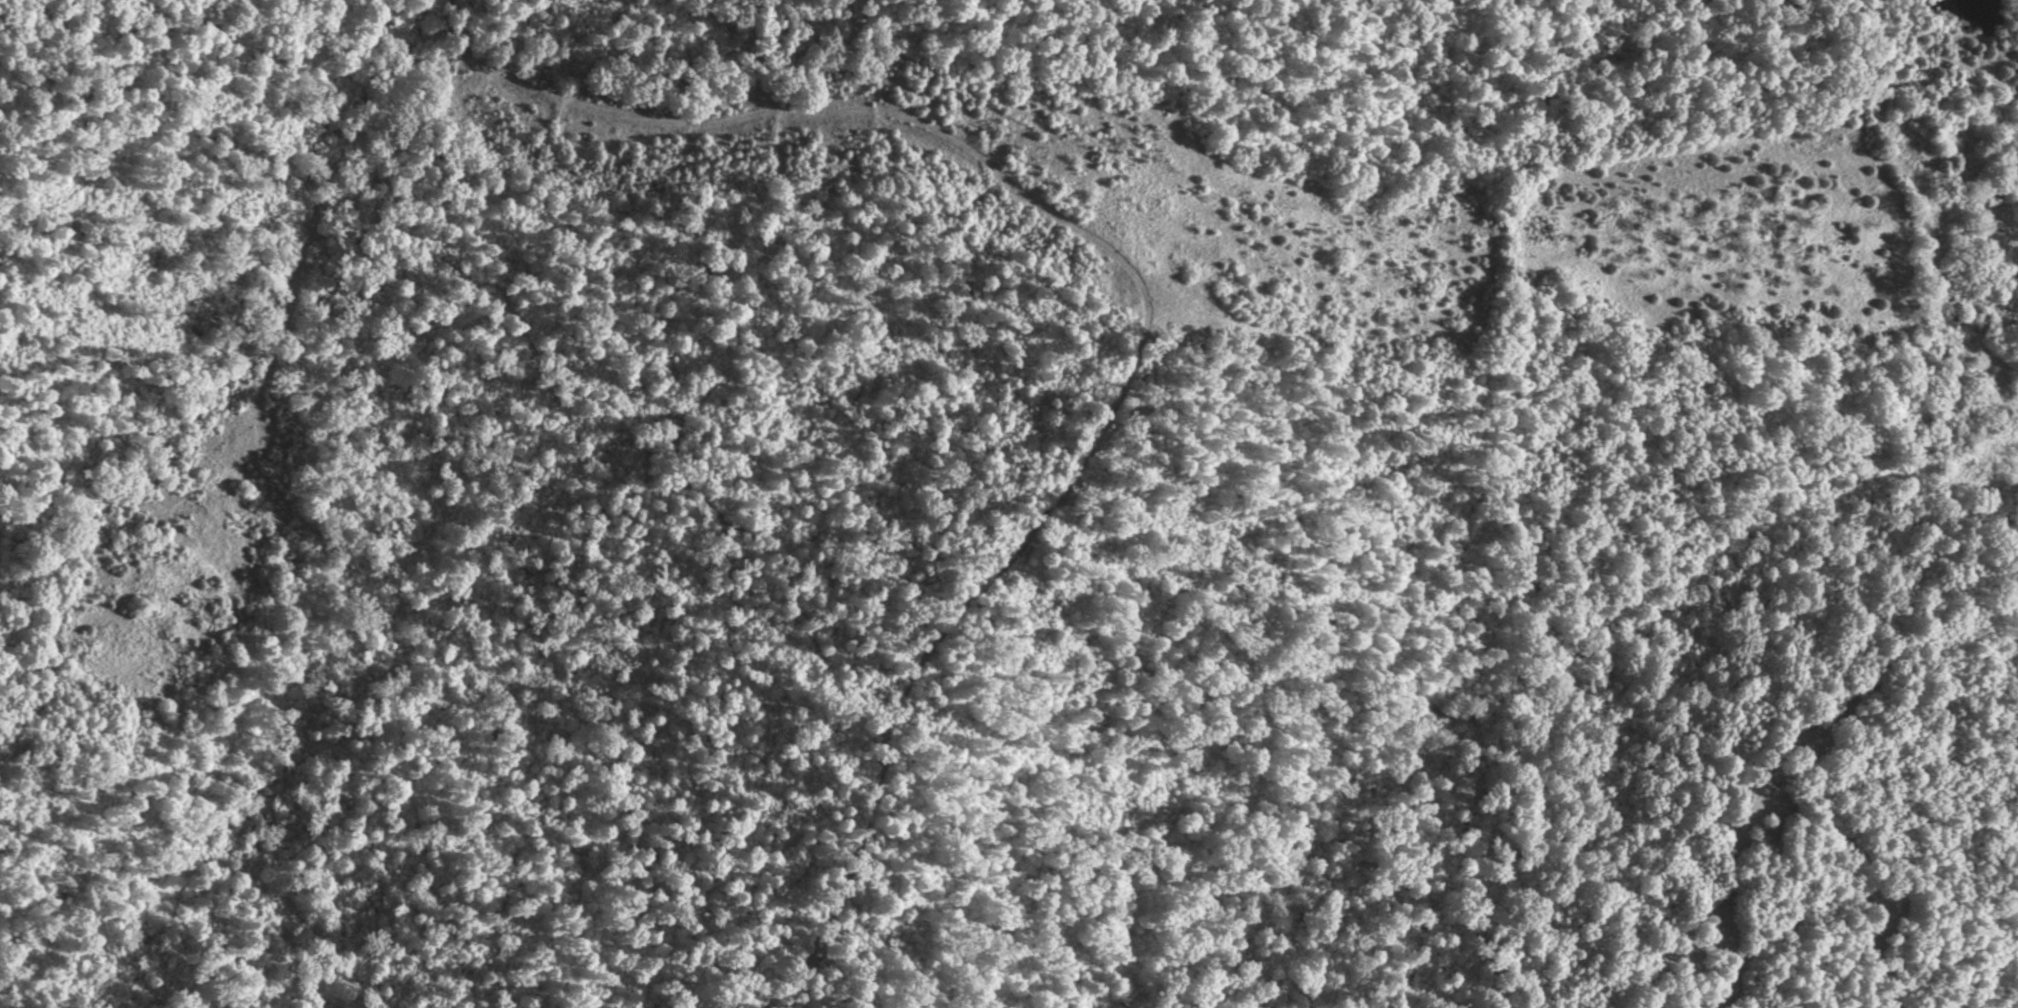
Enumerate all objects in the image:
road: (1996, 218)

